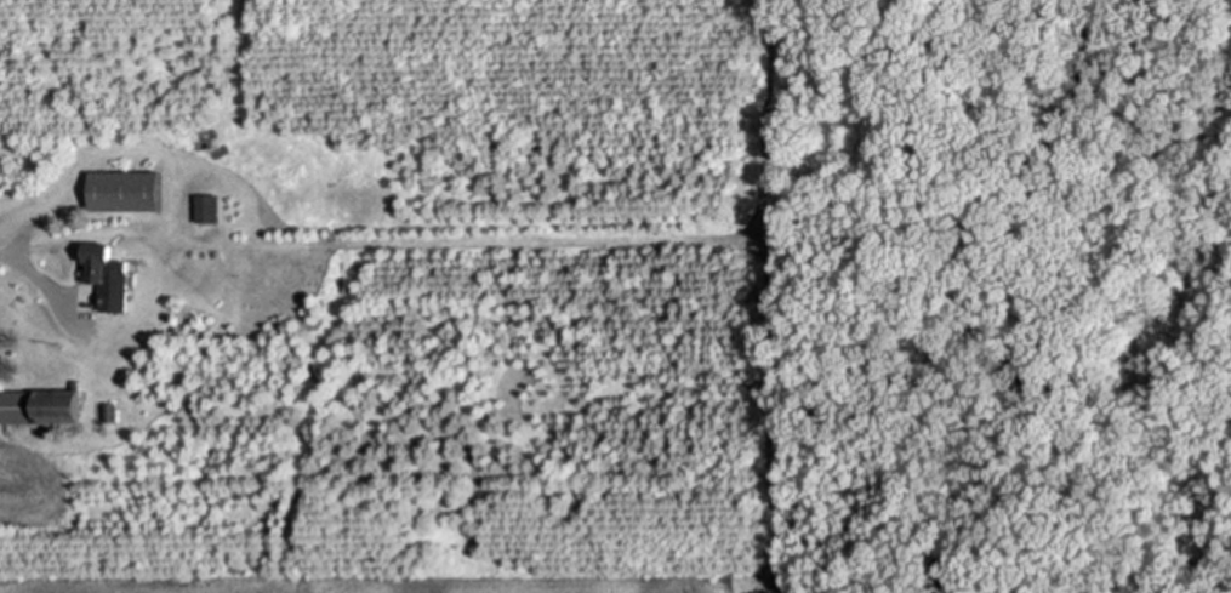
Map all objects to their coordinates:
building: (125, 192)
building: (206, 207)
building: (1076, 246)
road: (42, 264)
building: (106, 276)
building: (41, 407)
building: (108, 414)
building: (57, 437)

